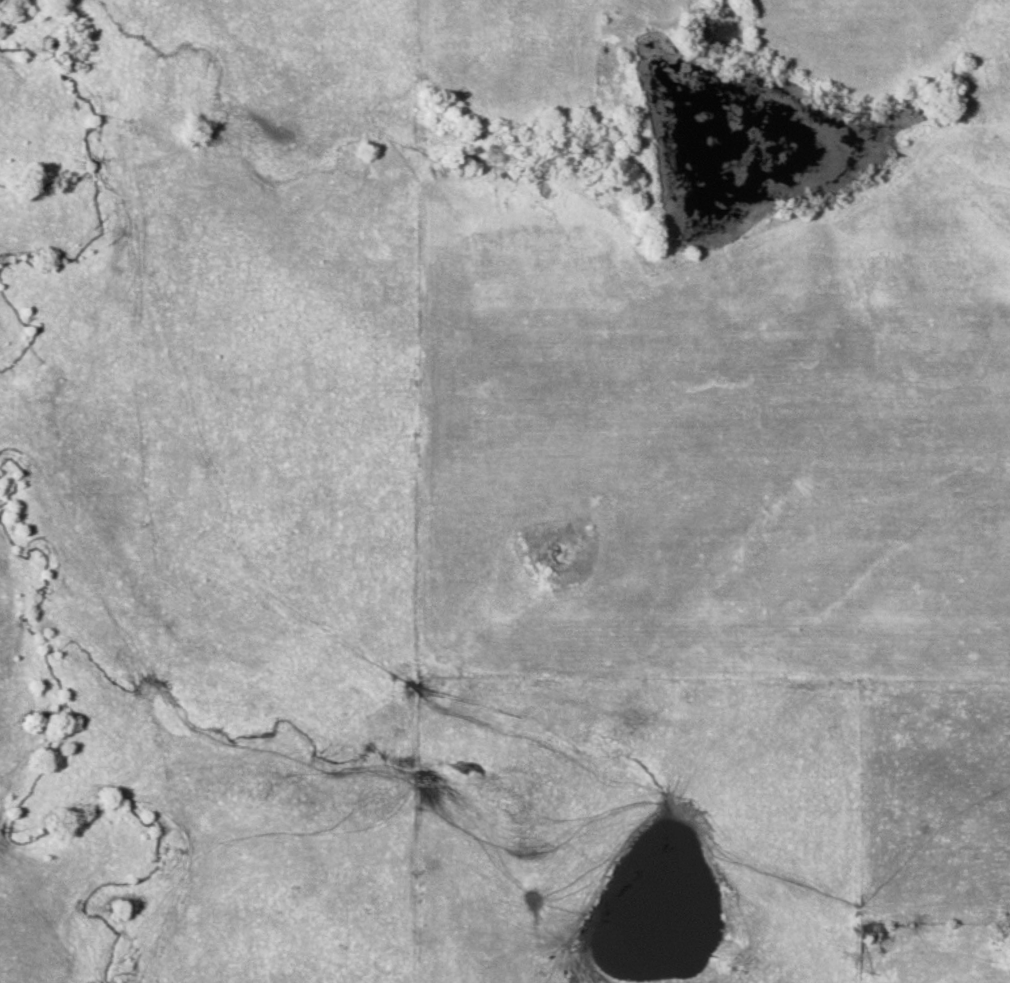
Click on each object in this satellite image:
building: (868, 931)

